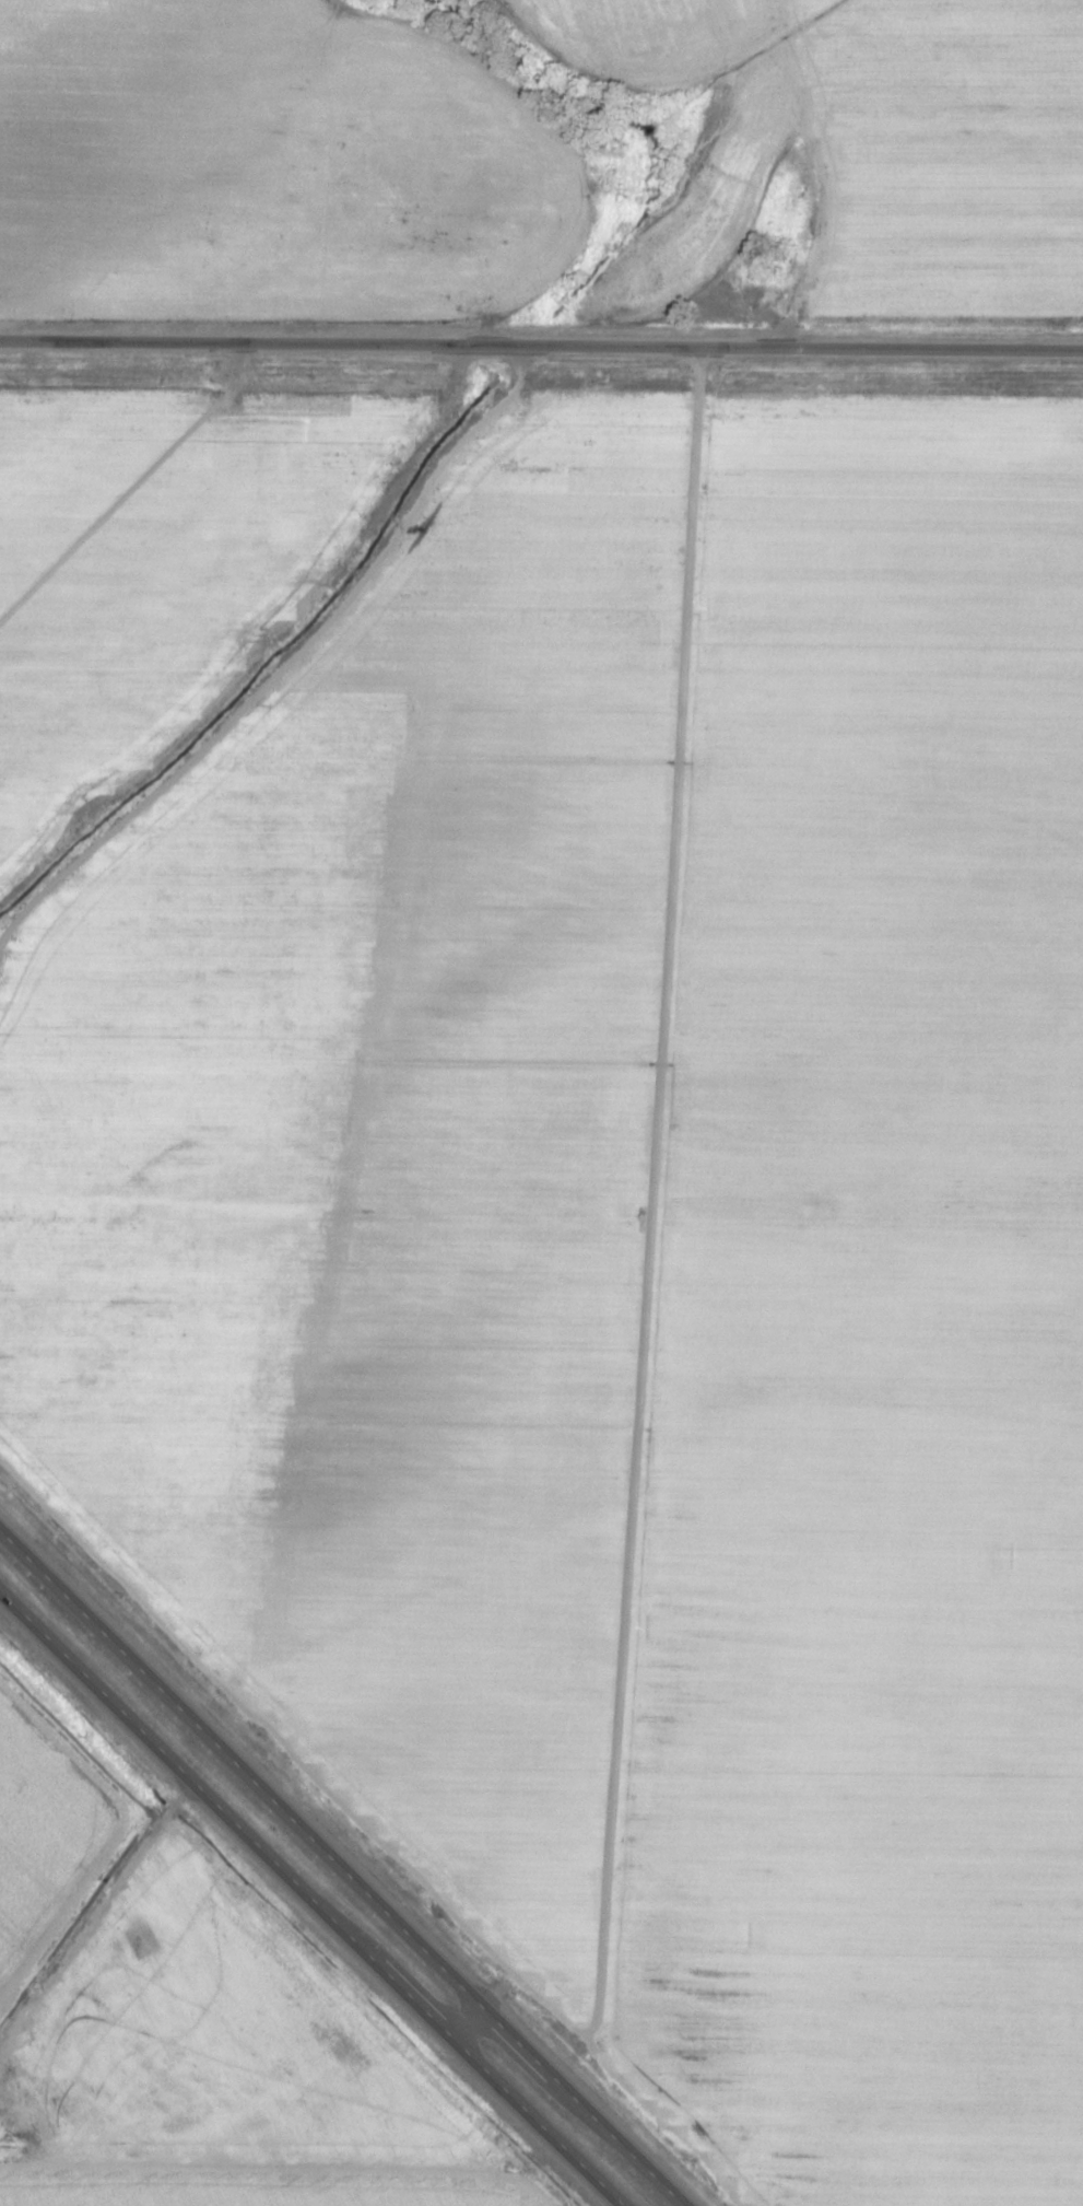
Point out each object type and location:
road: (541, 343)
road: (340, 1869)
road: (313, 1895)
road: (95, 1909)

